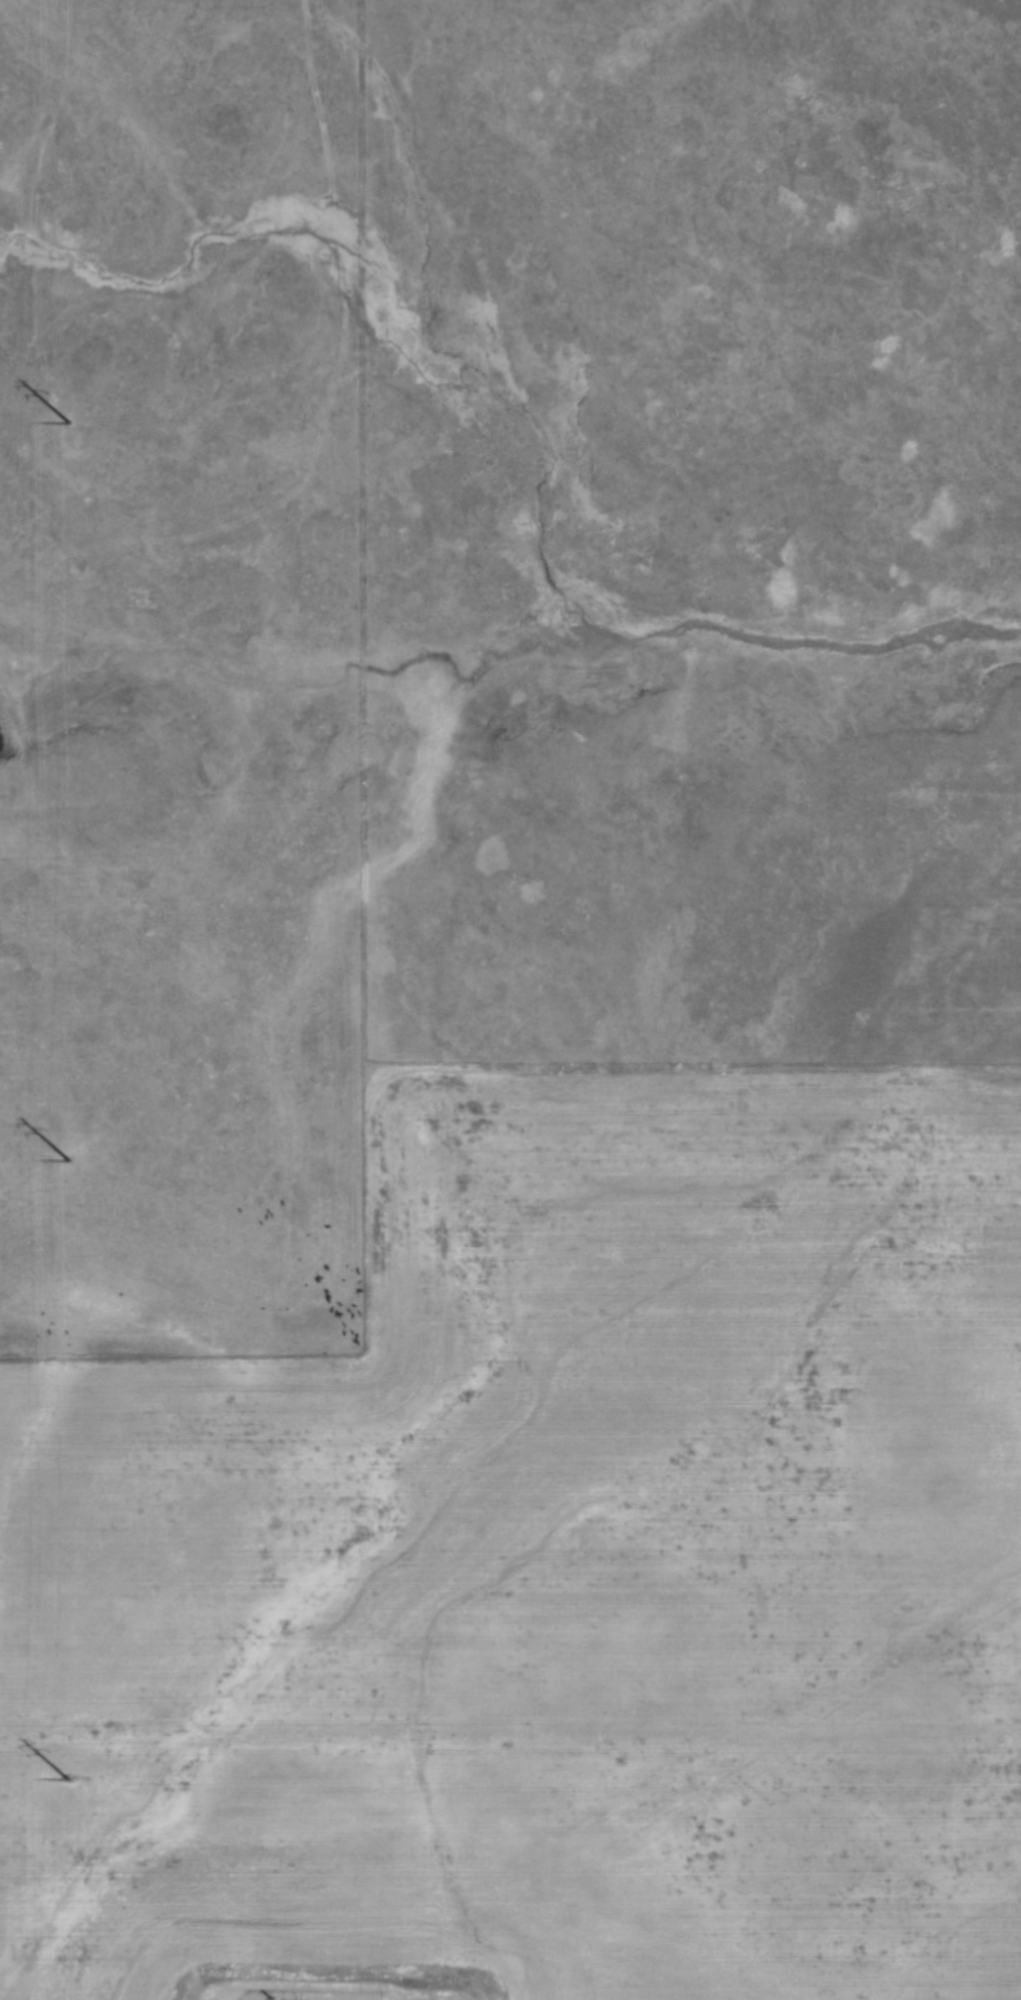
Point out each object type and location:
road: (344, 310)
power tower: (73, 424)
dam: (20, 739)
power tower: (68, 1163)
power tower: (68, 1780)

